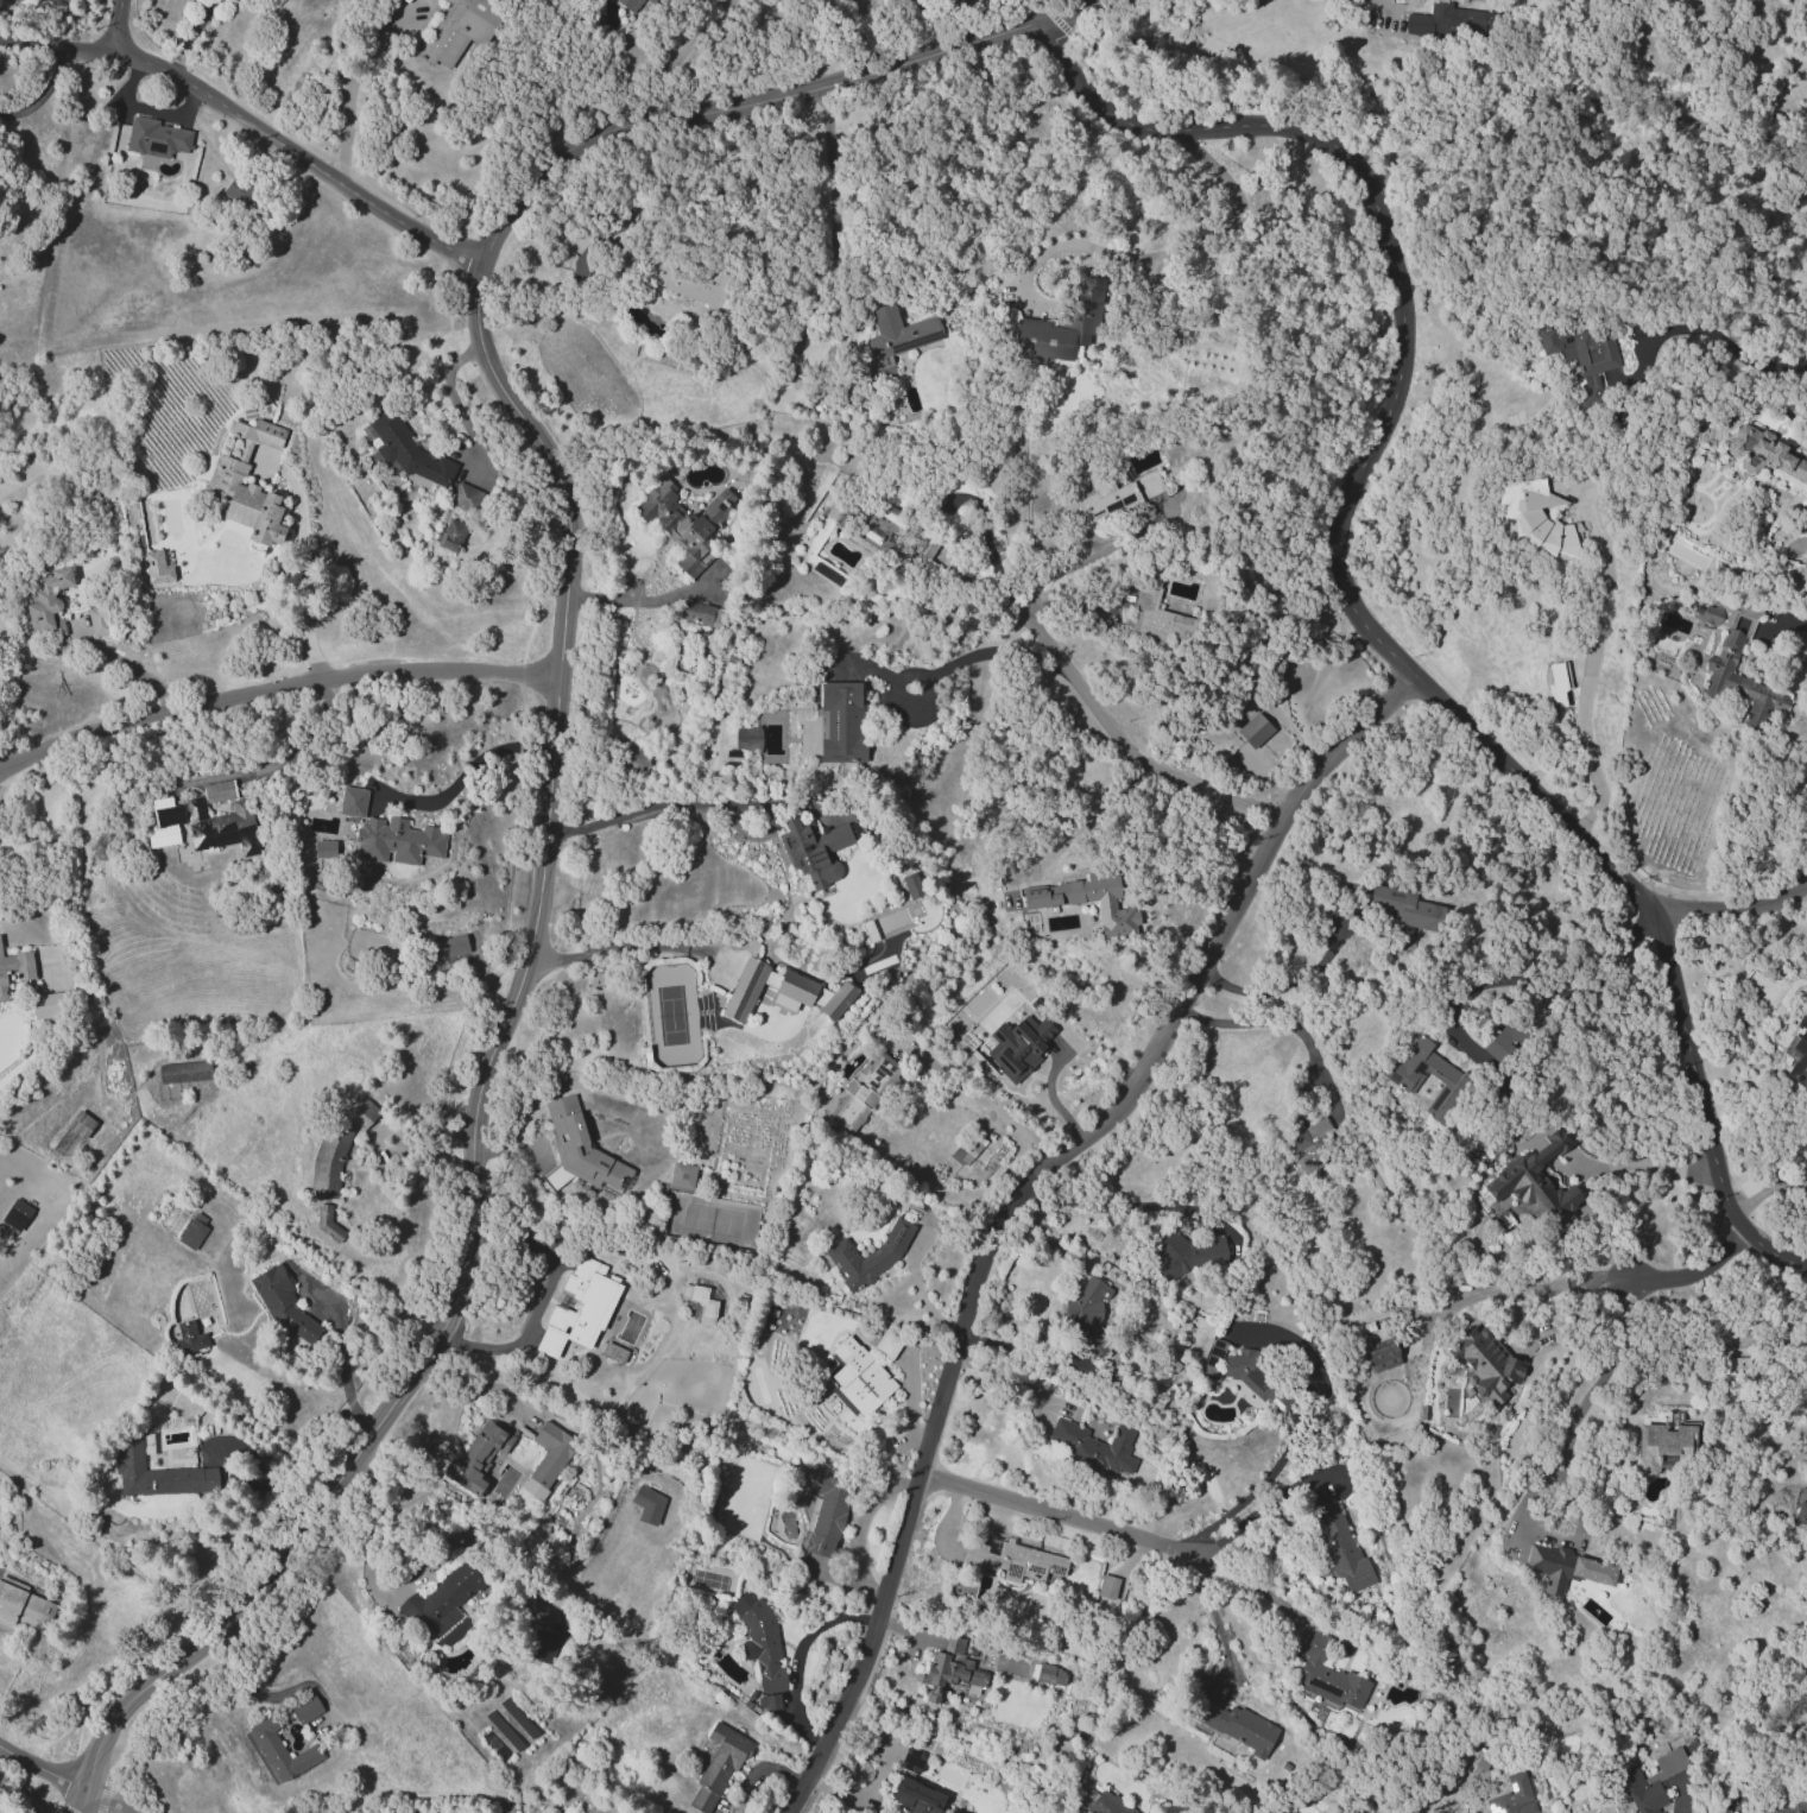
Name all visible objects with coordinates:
building: (630, 4)
road: (1378, 5)
building: (1449, 21)
road: (120, 24)
building: (460, 30)
road: (880, 33)
road: (190, 36)
road: (675, 58)
road: (355, 81)
road: (42, 93)
road: (1416, 106)
road: (248, 121)
building: (154, 138)
building: (236, 191)
road: (1181, 251)
road: (828, 264)
building: (688, 282)
building: (1061, 327)
building: (1581, 356)
road: (456, 400)
building: (1762, 453)
building: (247, 484)
building: (465, 497)
building: (1108, 498)
building: (1535, 517)
building: (683, 523)
building: (451, 535)
road: (1088, 557)
road: (980, 563)
building: (1803, 563)
building: (157, 568)
road: (304, 579)
road: (626, 600)
building: (44, 604)
road: (1351, 605)
building: (700, 613)
building: (1158, 618)
building: (97, 620)
road: (1794, 625)
road: (977, 656)
road: (127, 664)
building: (1733, 667)
road: (1590, 674)
building: (1556, 682)
road: (274, 693)
building: (840, 722)
building: (1253, 729)
building: (746, 739)
road: (1125, 746)
road: (552, 751)
road: (283, 759)
building: (636, 759)
road: (465, 773)
building: (219, 790)
building: (352, 802)
road: (636, 808)
road: (1081, 822)
building: (213, 825)
building: (396, 841)
building: (813, 849)
road: (31, 867)
building: (912, 884)
building: (1088, 901)
road: (1731, 907)
building: (1404, 908)
road: (620, 946)
building: (444, 947)
building: (14, 969)
road: (1524, 969)
road: (1281, 991)
building: (782, 992)
building: (46, 1005)
road: (1285, 1023)
building: (1502, 1043)
building: (1018, 1046)
building: (1797, 1053)
building: (183, 1072)
building: (1454, 1088)
building: (866, 1091)
road: (1050, 1093)
road: (990, 1106)
building: (362, 1114)
building: (81, 1124)
building: (1312, 1144)
building: (579, 1150)
building: (967, 1150)
building: (328, 1160)
road: (1642, 1162)
building: (682, 1175)
building: (1536, 1180)
road: (1767, 1190)
road: (1013, 1193)
road: (1104, 1206)
building: (19, 1208)
building: (324, 1221)
building: (191, 1233)
building: (868, 1255)
building: (1187, 1255)
road: (1701, 1280)
road: (917, 1289)
road: (1524, 1289)
road: (539, 1299)
building: (283, 1303)
building: (579, 1308)
building: (707, 1313)
building: (1087, 1313)
building: (189, 1337)
road: (1708, 1347)
building: (613, 1352)
building: (1382, 1354)
road: (340, 1362)
building: (1485, 1364)
building: (1246, 1371)
building: (860, 1376)
road: (474, 1382)
road: (910, 1400)
road: (1578, 1409)
road: (1299, 1428)
building: (1663, 1445)
building: (1092, 1446)
building: (476, 1457)
building: (548, 1458)
road: (223, 1472)
building: (157, 1473)
road: (1263, 1503)
building: (647, 1504)
building: (827, 1514)
building: (1801, 1514)
road: (1059, 1516)
road: (854, 1530)
building: (1339, 1546)
road: (362, 1548)
building: (1013, 1560)
building: (1565, 1568)
building: (1106, 1586)
road: (1252, 1586)
building: (442, 1600)
road: (1213, 1611)
building: (760, 1638)
building: (543, 1645)
road: (797, 1656)
building: (953, 1672)
building: (1050, 1674)
building: (1327, 1676)
building: (1194, 1681)
building: (767, 1703)
building: (305, 1708)
building: (1236, 1726)
building: (279, 1750)
building: (912, 1760)
building: (716, 1767)
road: (43, 1769)
building: (1647, 1780)
building: (917, 1796)
building: (1511, 1796)
building: (1801, 1799)
road: (105, 1801)
building: (1101, 1802)

